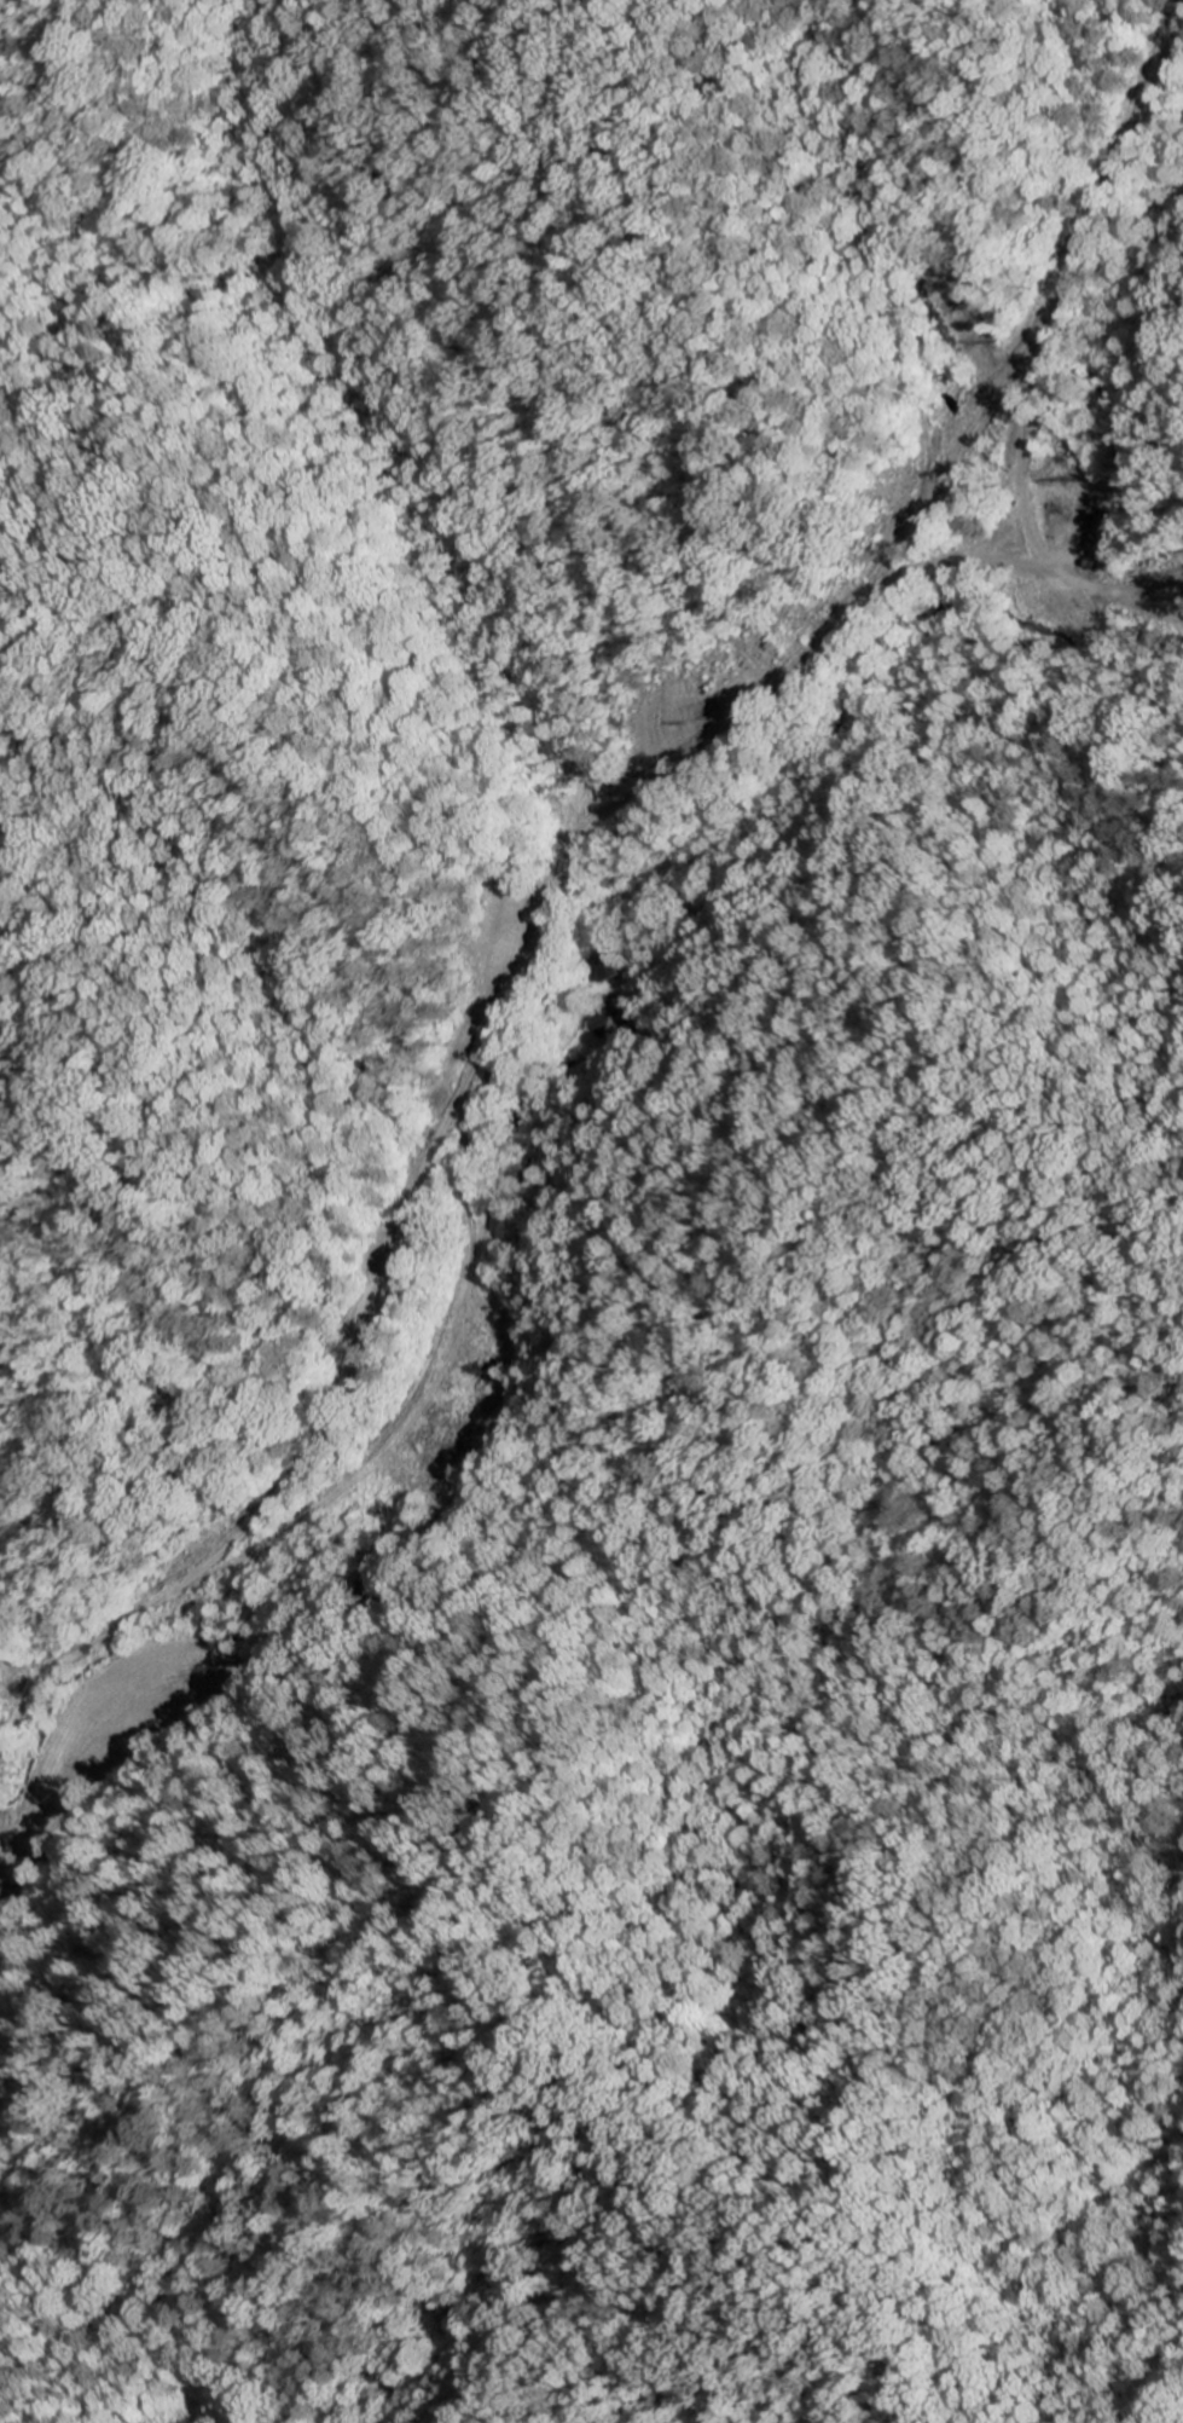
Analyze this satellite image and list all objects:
road: (1061, 294)
building: (605, 966)
road: (493, 1017)

